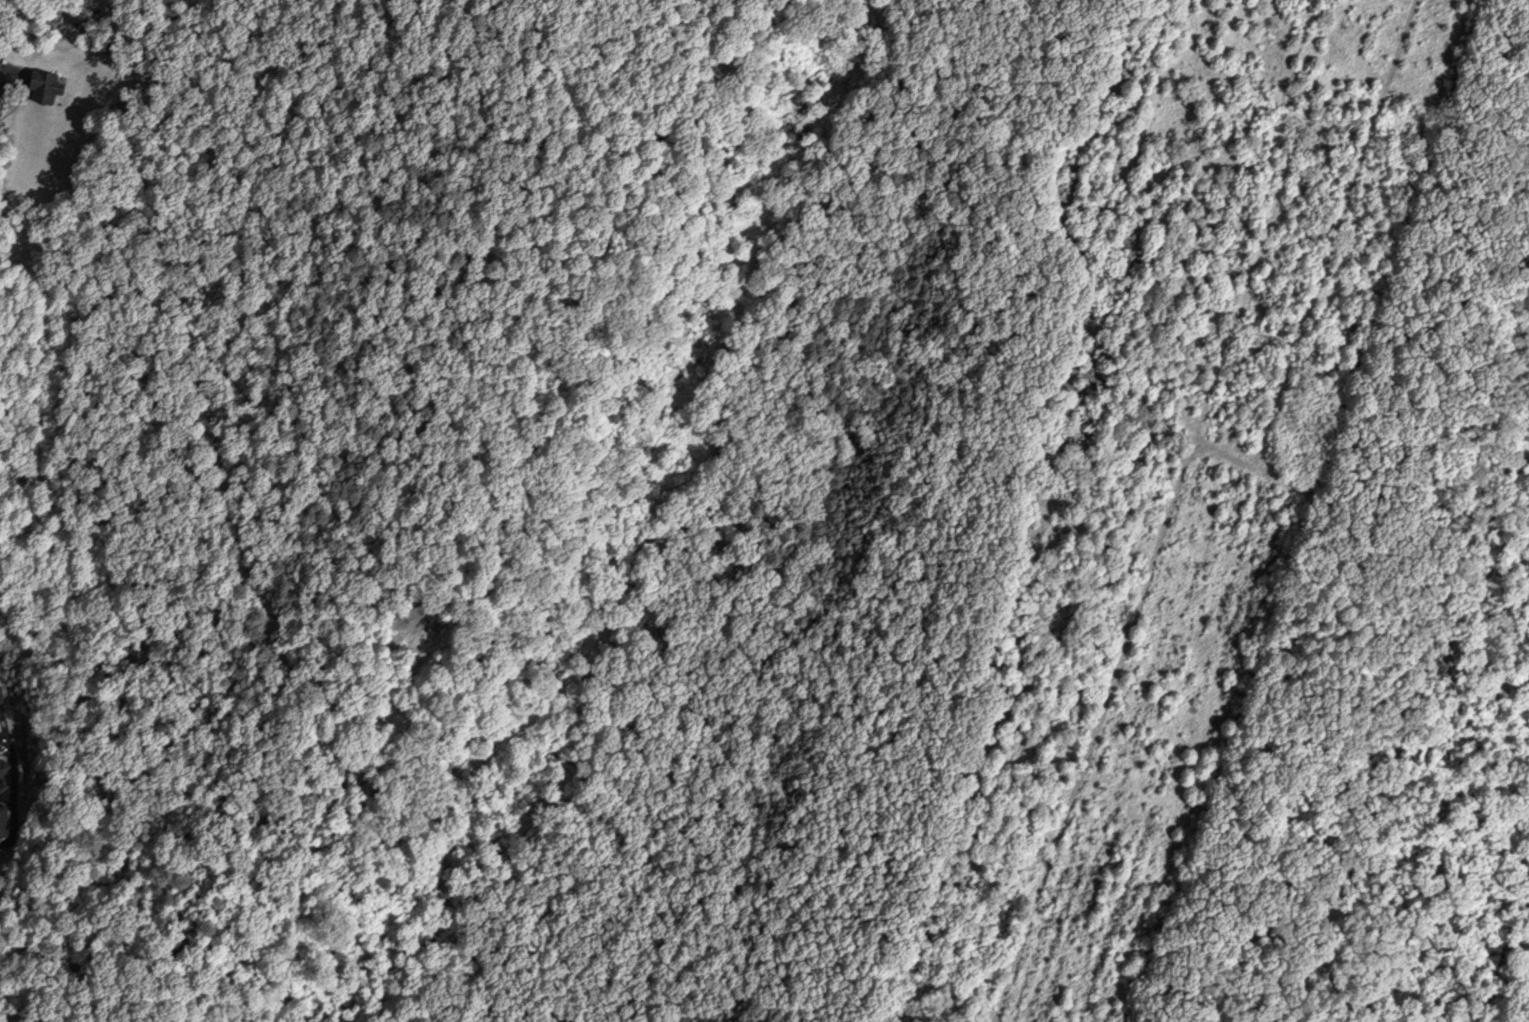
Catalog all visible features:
road: (0, 70)
building: (46, 86)

